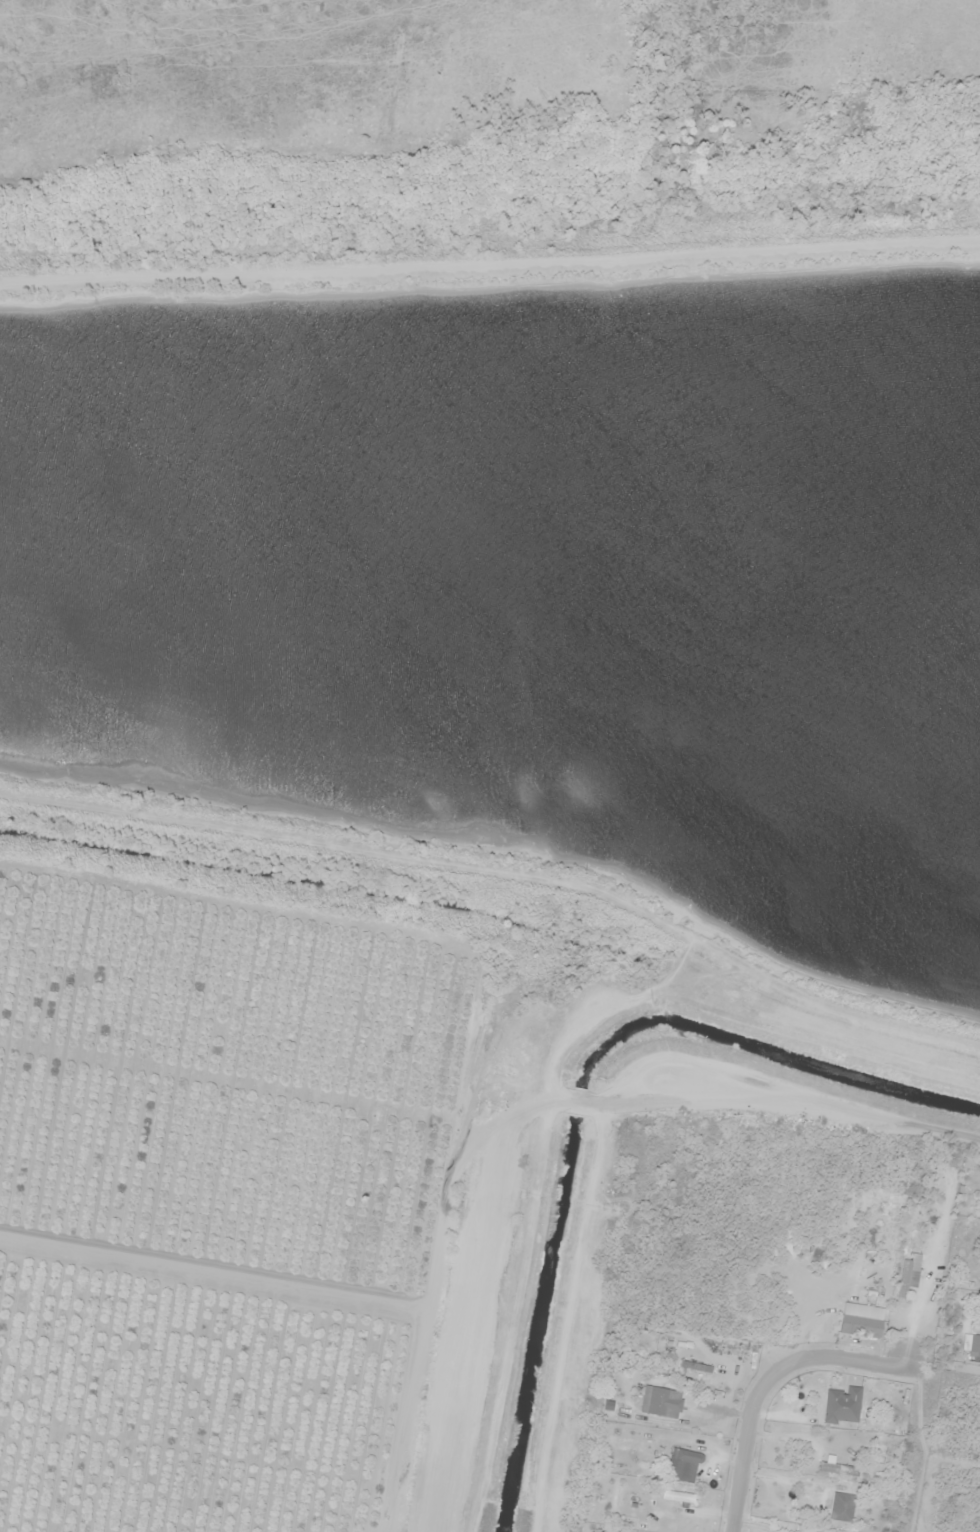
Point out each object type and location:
road: (463, 1115)
road: (920, 1130)
building: (909, 1275)
building: (861, 1326)
building: (974, 1348)
building: (696, 1367)
road: (769, 1377)
building: (661, 1401)
building: (843, 1406)
building: (683, 1466)
building: (837, 1468)
building: (678, 1497)
building: (842, 1507)

